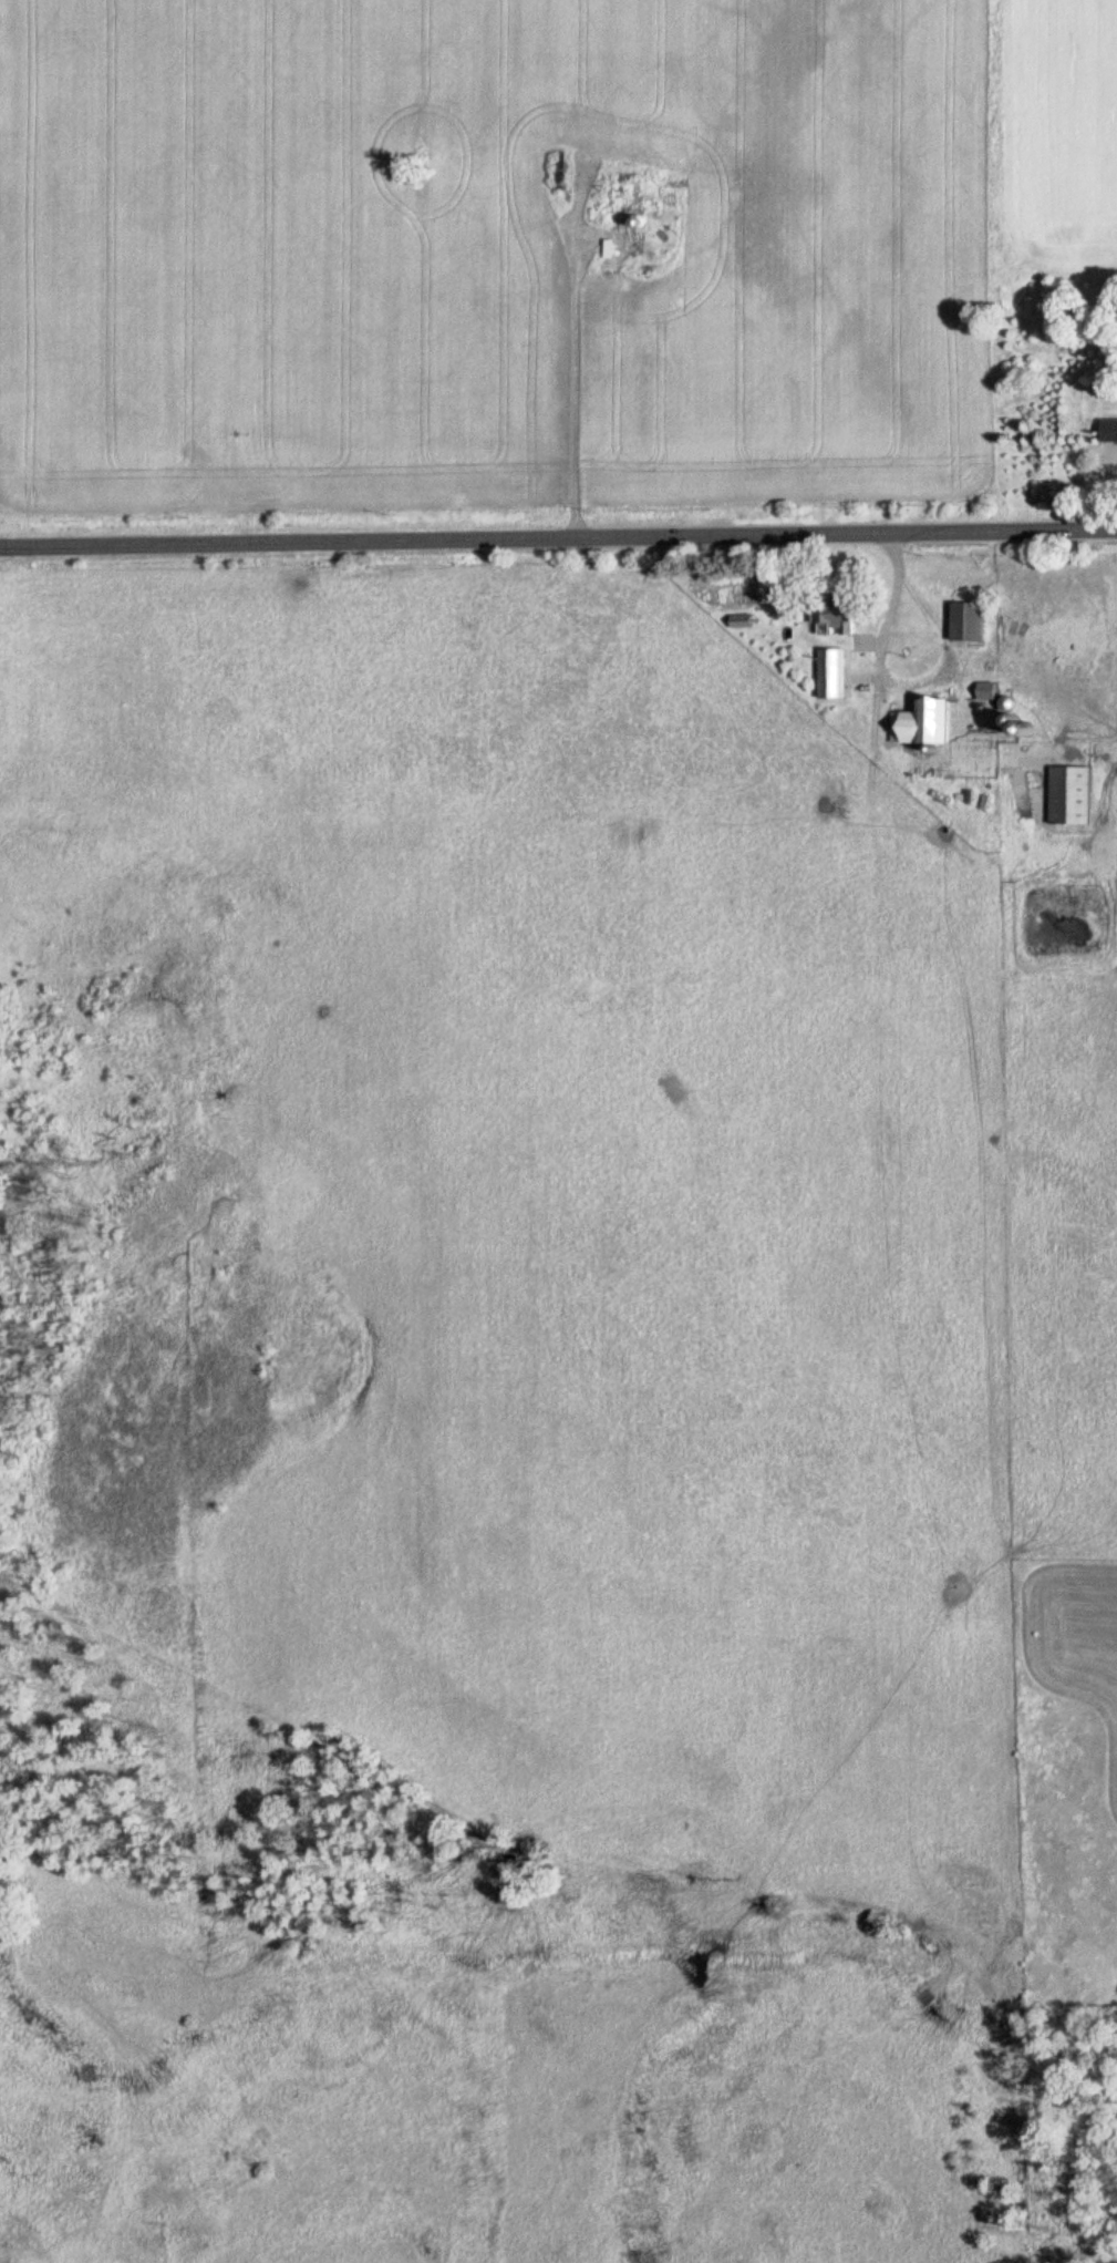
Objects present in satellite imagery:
building: (1107, 436)
road: (558, 543)
building: (830, 617)
building: (961, 620)
building: (829, 672)
building: (1066, 794)

